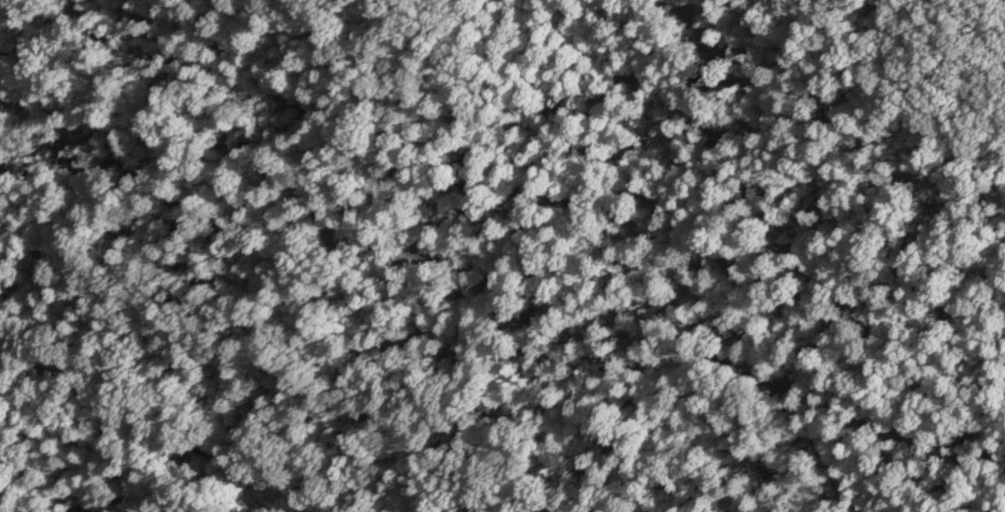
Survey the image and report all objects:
road: (142, 428)

